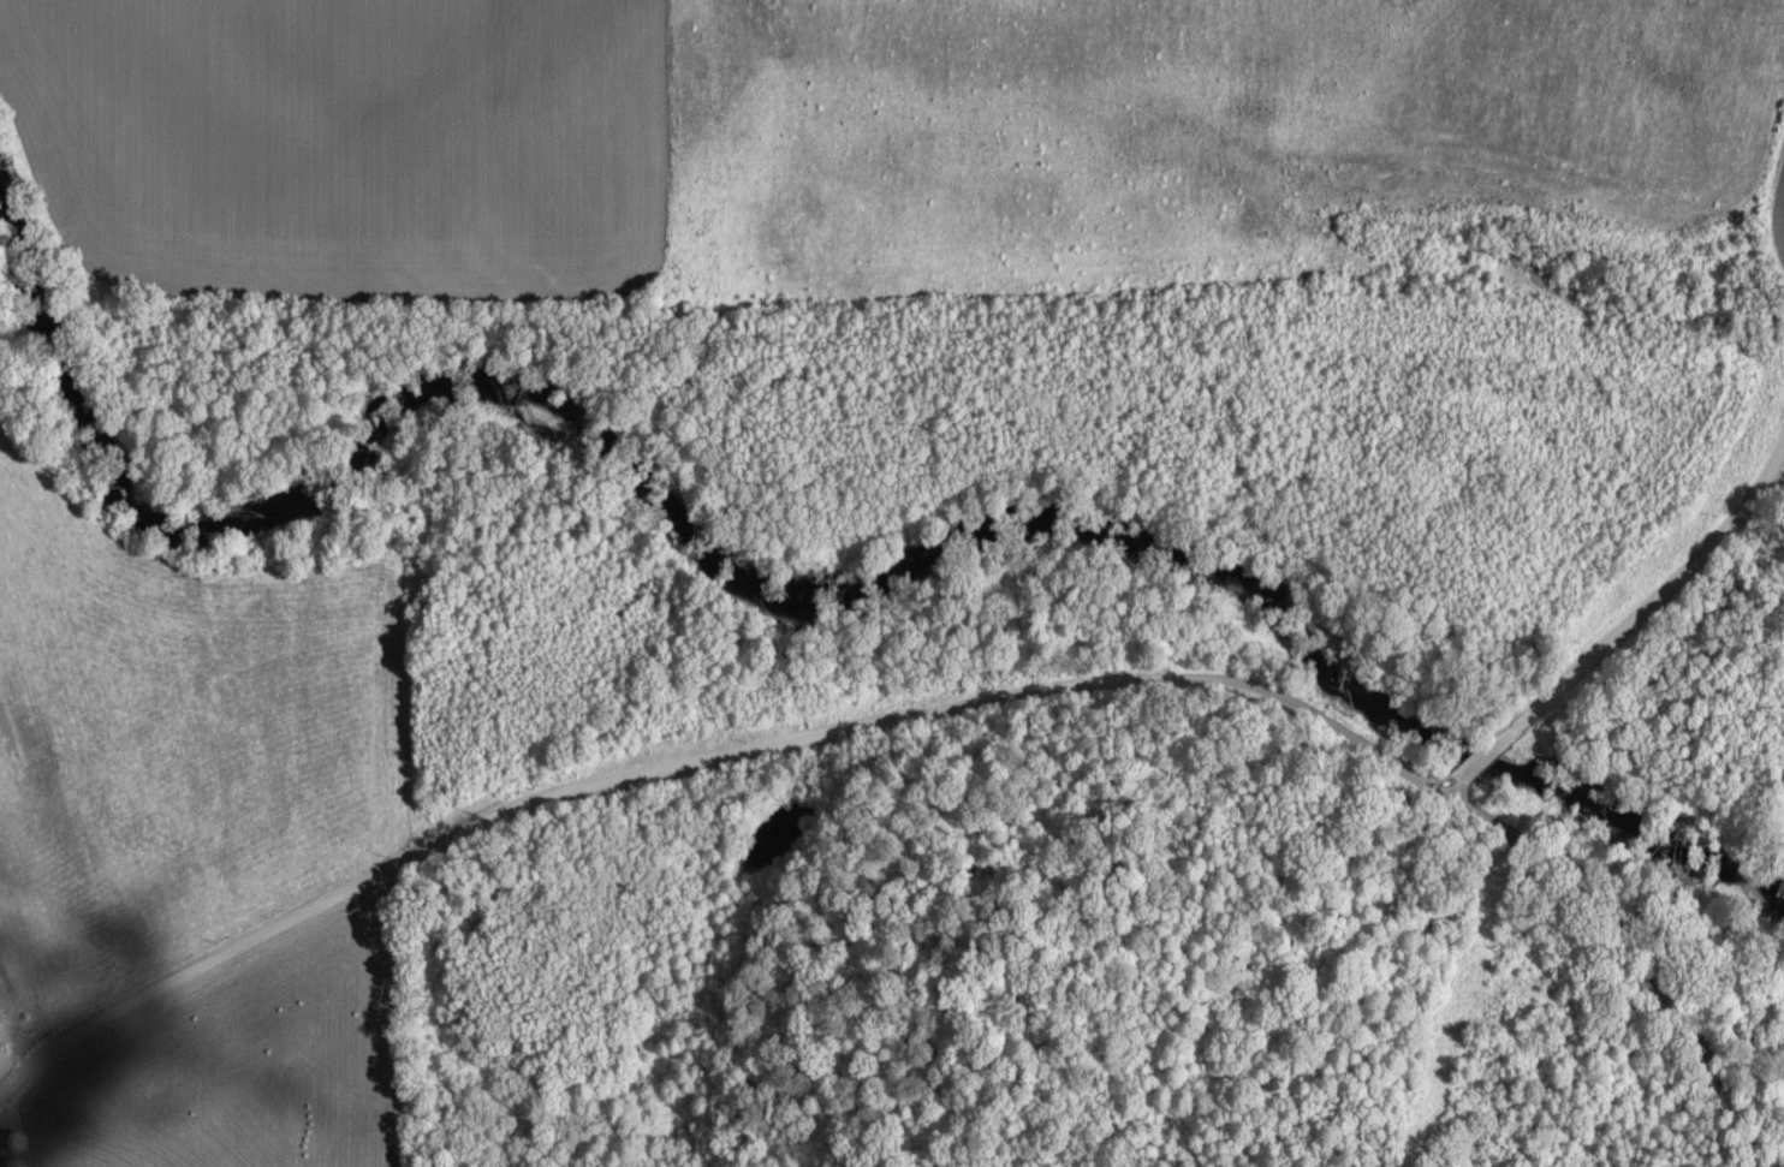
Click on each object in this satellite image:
road: (1780, 209)
road: (1661, 589)
river: (790, 590)
road: (1486, 752)
road: (696, 755)
road: (1631, 939)
road: (2, 1145)

